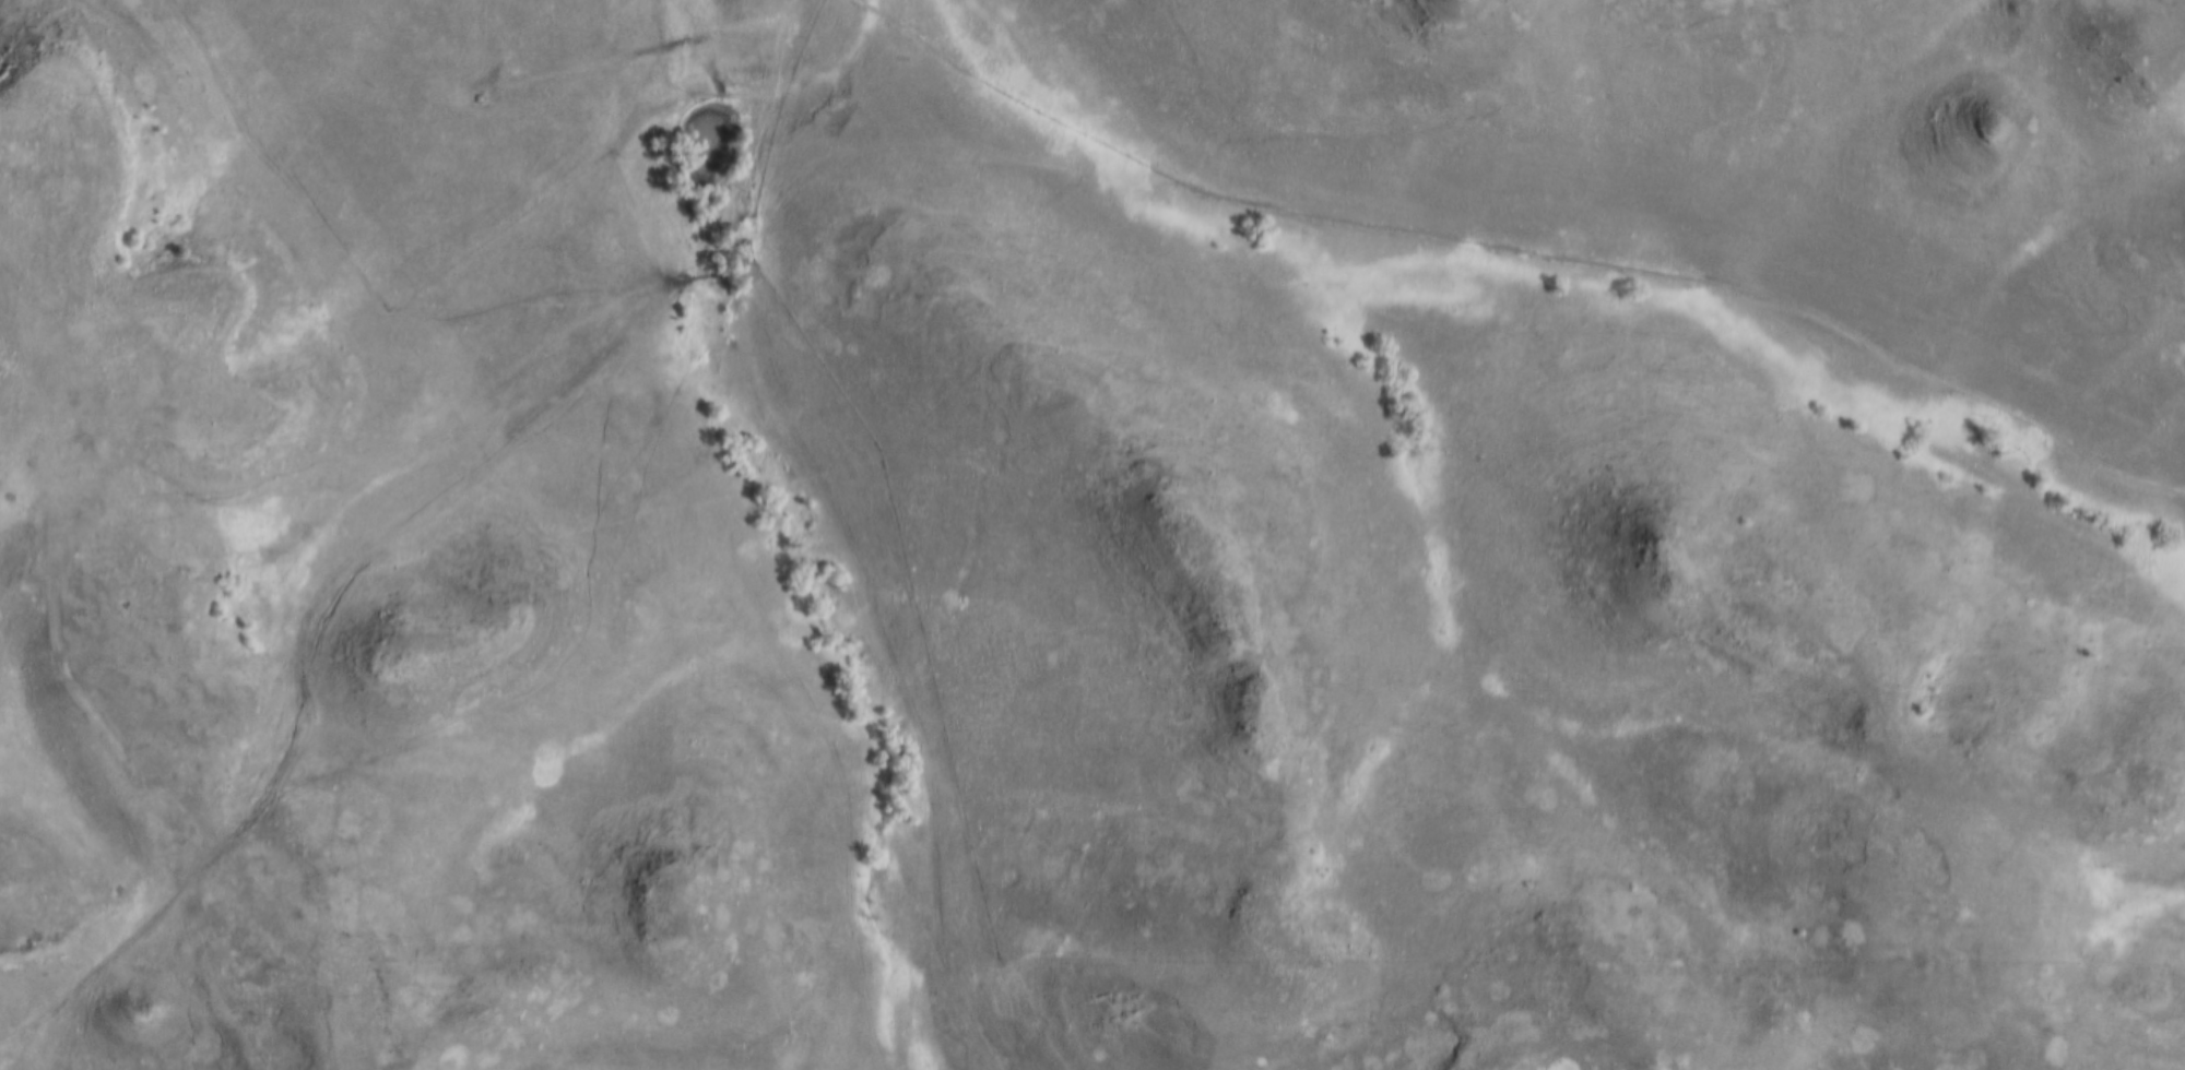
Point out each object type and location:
road: (143, 926)

